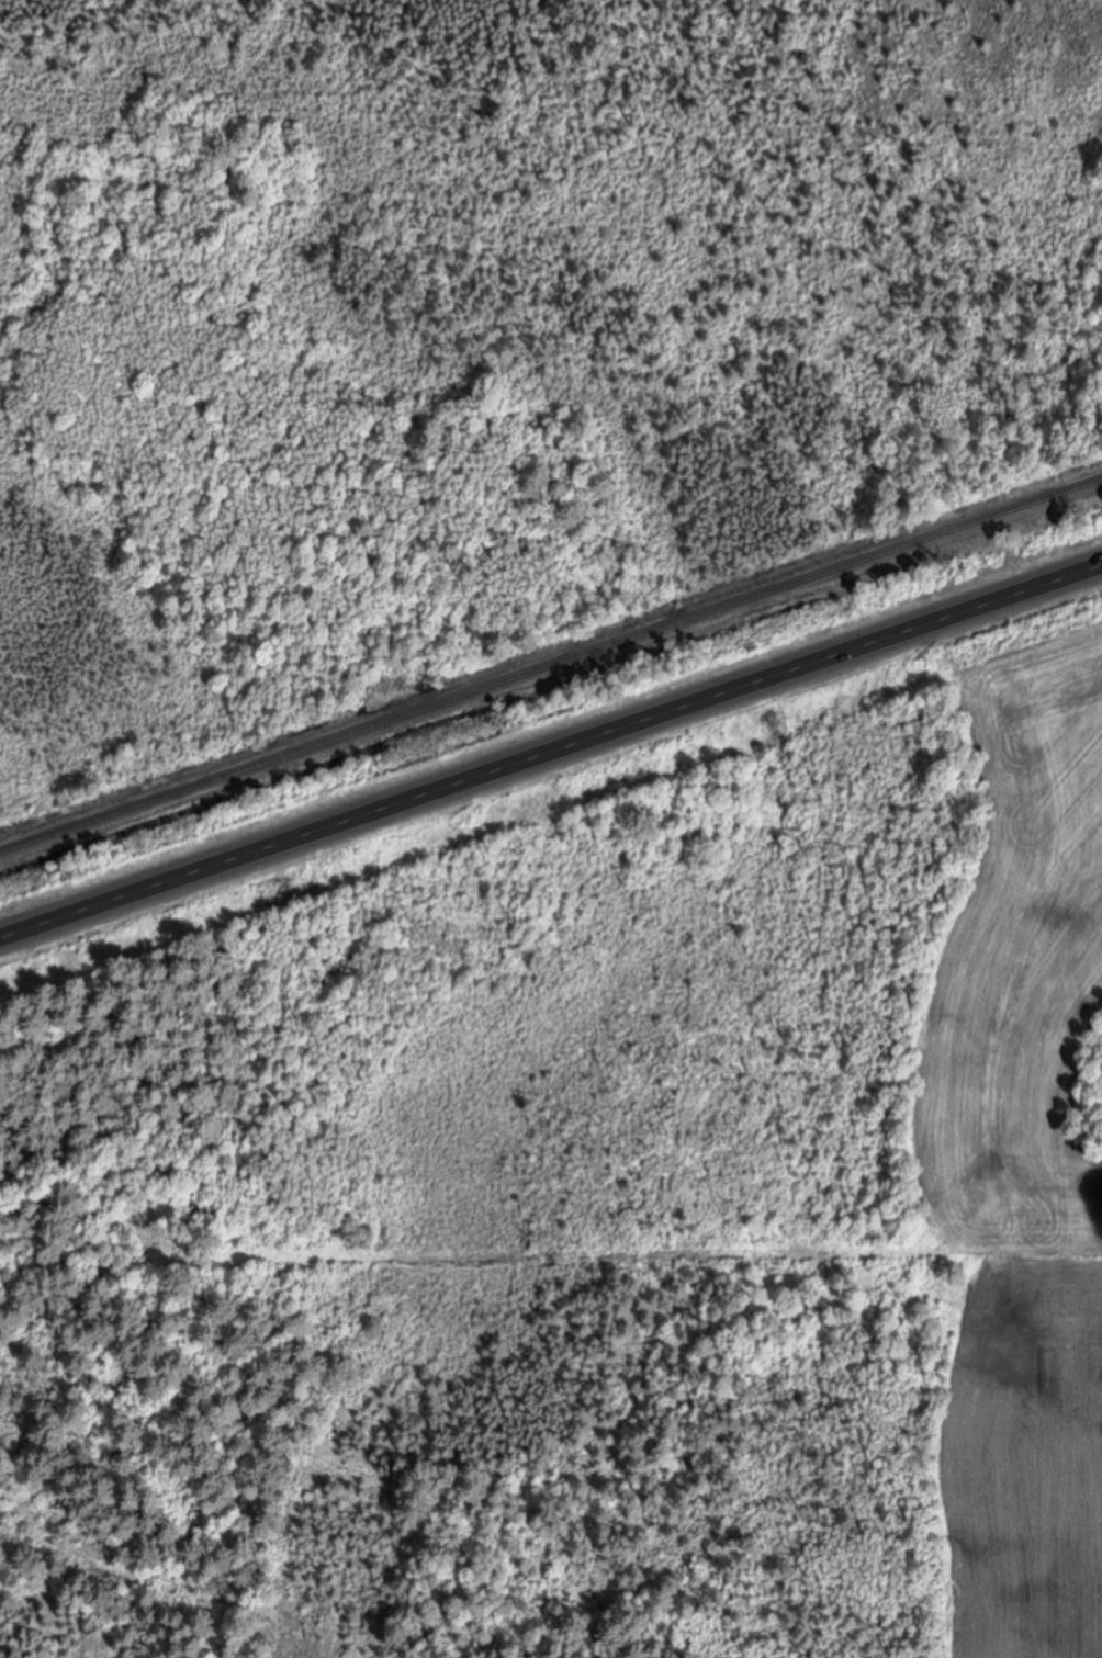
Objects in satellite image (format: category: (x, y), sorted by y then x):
railway: (551, 662)
road: (551, 748)

